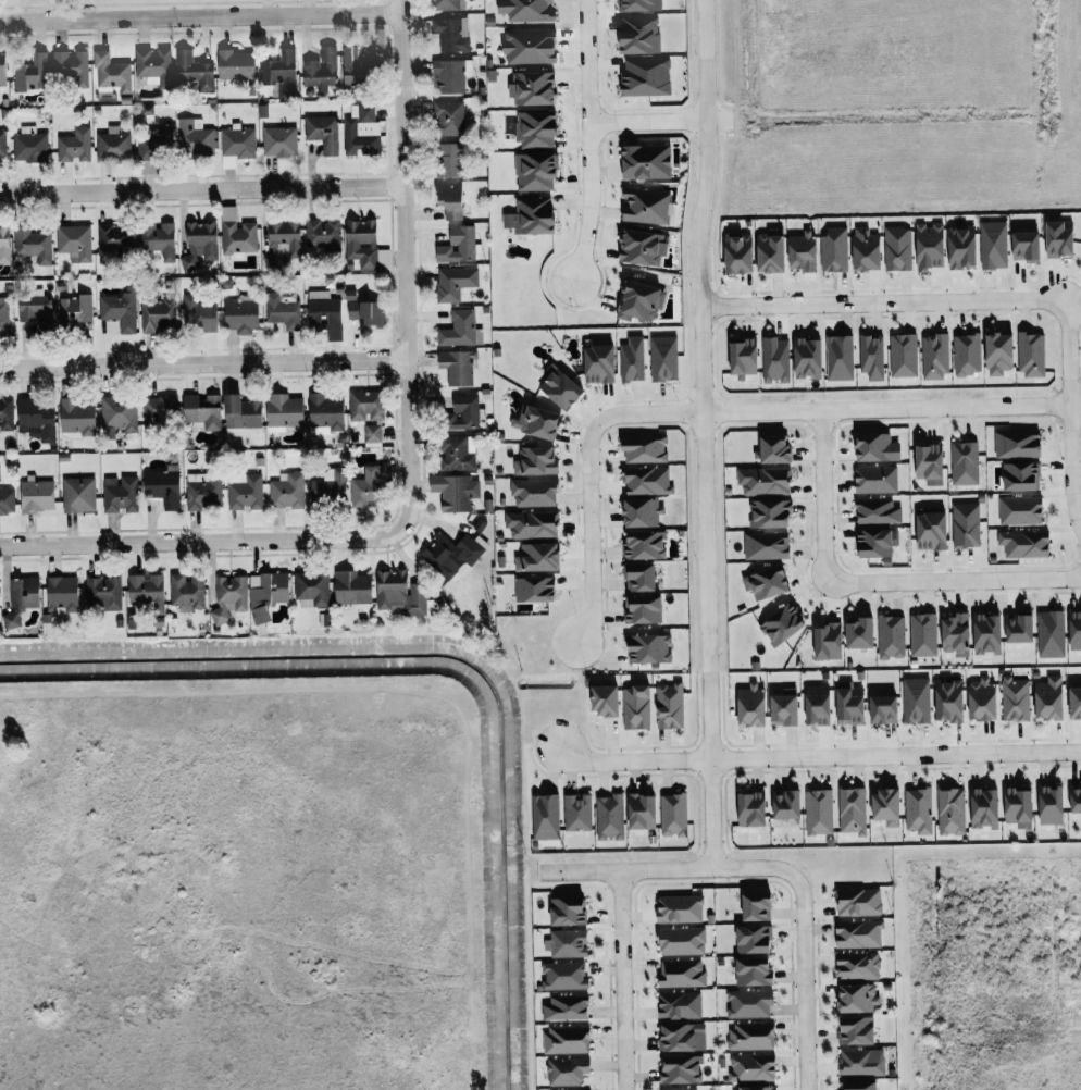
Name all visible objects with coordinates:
building: (445, 5)
building: (639, 5)
park: (171, 8)
building: (530, 11)
road: (199, 16)
building: (451, 34)
building: (639, 36)
building: (530, 47)
road: (587, 60)
building: (235, 64)
building: (153, 65)
building: (71, 66)
building: (355, 66)
building: (3, 67)
building: (321, 69)
building: (194, 70)
building: (111, 71)
building: (29, 72)
building: (450, 75)
building: (645, 77)
building: (533, 89)
building: (448, 117)
road: (647, 117)
building: (536, 128)
building: (361, 131)
building: (323, 132)
building: (194, 136)
building: (156, 141)
building: (237, 141)
building: (278, 141)
building: (2, 144)
building: (112, 144)
building: (29, 145)
building: (74, 146)
building: (448, 159)
building: (646, 161)
building: (535, 171)
road: (202, 189)
building: (450, 199)
road: (585, 201)
road: (698, 203)
building: (645, 206)
building: (531, 215)
building: (236, 232)
building: (323, 234)
building: (111, 236)
building: (283, 237)
building: (158, 238)
building: (1060, 238)
building: (74, 240)
building: (361, 241)
building: (32, 244)
building: (993, 244)
building: (4, 245)
building: (199, 245)
building: (458, 245)
building: (1026, 245)
building: (642, 246)
building: (930, 246)
building: (962, 246)
building: (866, 248)
building: (897, 248)
building: (834, 249)
building: (771, 250)
building: (802, 251)
building: (738, 252)
road: (408, 264)
building: (455, 282)
building: (639, 300)
road: (879, 300)
building: (34, 307)
building: (74, 309)
building: (119, 311)
building: (281, 311)
building: (364, 311)
building: (200, 312)
building: (324, 312)
building: (157, 313)
building: (241, 314)
building: (3, 317)
building: (460, 329)
road: (1065, 349)
building: (999, 352)
building: (967, 354)
building: (1031, 354)
building: (903, 355)
building: (743, 356)
building: (871, 356)
building: (838, 357)
building: (934, 357)
building: (663, 358)
building: (808, 358)
building: (632, 359)
building: (775, 359)
road: (203, 363)
building: (599, 363)
building: (457, 367)
building: (560, 386)
road: (1074, 402)
building: (365, 405)
road: (883, 405)
building: (159, 408)
building: (203, 410)
building: (284, 410)
building: (463, 411)
building: (5, 413)
building: (117, 413)
building: (240, 413)
building: (325, 413)
building: (77, 417)
building: (36, 419)
building: (537, 421)
building: (372, 433)
building: (1017, 444)
building: (877, 447)
building: (644, 448)
building: (774, 449)
building: (455, 454)
building: (535, 460)
building: (964, 462)
building: (929, 463)
road: (1069, 466)
road: (586, 474)
building: (1021, 476)
building: (875, 479)
building: (646, 480)
building: (766, 481)
building: (163, 485)
building: (328, 487)
building: (370, 487)
building: (202, 490)
building: (286, 491)
building: (455, 492)
building: (534, 492)
building: (245, 493)
building: (77, 494)
building: (120, 494)
parking lot: (910, 495)
building: (36, 496)
building: (7, 501)
building: (1020, 509)
building: (877, 511)
building: (642, 512)
building: (770, 512)
building: (535, 524)
building: (966, 524)
building: (931, 531)
road: (202, 538)
road: (704, 541)
building: (874, 543)
building: (1024, 543)
building: (644, 544)
building: (766, 545)
building: (449, 555)
building: (537, 557)
building: (639, 577)
building: (767, 583)
road: (865, 586)
building: (351, 587)
building: (311, 589)
building: (534, 589)
building: (147, 590)
building: (187, 591)
building: (103, 592)
building: (399, 593)
building: (62, 594)
building: (266, 594)
building: (229, 597)
building: (21, 598)
building: (643, 609)
building: (782, 624)
building: (1019, 628)
building: (1074, 630)
building: (860, 633)
building: (987, 633)
building: (922, 634)
building: (956, 634)
building: (1051, 634)
building: (891, 636)
building: (828, 641)
building: (648, 648)
building: (1049, 697)
building: (1015, 698)
building: (605, 699)
building: (916, 699)
building: (982, 699)
building: (949, 701)
building: (1076, 702)
building: (849, 703)
building: (669, 705)
building: (751, 705)
building: (817, 705)
building: (635, 707)
building: (784, 707)
building: (883, 709)
road: (895, 755)
road: (631, 761)
road: (710, 771)
building: (1076, 798)
building: (786, 804)
building: (1051, 804)
building: (1019, 806)
building: (886, 807)
building: (984, 808)
building: (751, 809)
building: (852, 809)
building: (918, 810)
building: (950, 810)
building: (577, 812)
building: (642, 812)
building: (818, 812)
building: (672, 815)
building: (545, 816)
building: (609, 817)
road: (666, 869)
building: (858, 902)
building: (756, 906)
building: (680, 908)
building: (568, 911)
building: (857, 933)
building: (754, 939)
building: (681, 940)
building: (567, 943)
building: (858, 966)
building: (753, 971)
building: (681, 973)
building: (564, 976)
road: (621, 980)
road: (804, 981)
building: (858, 998)
building: (749, 1003)
building: (679, 1005)
building: (566, 1007)
building: (856, 1030)
building: (750, 1036)
building: (682, 1037)
building: (566, 1039)
building: (861, 1062)
building: (751, 1067)
building: (681, 1069)
building: (567, 1072)
building: (858, 1086)
building: (757, 1088)
building: (680, 1089)

